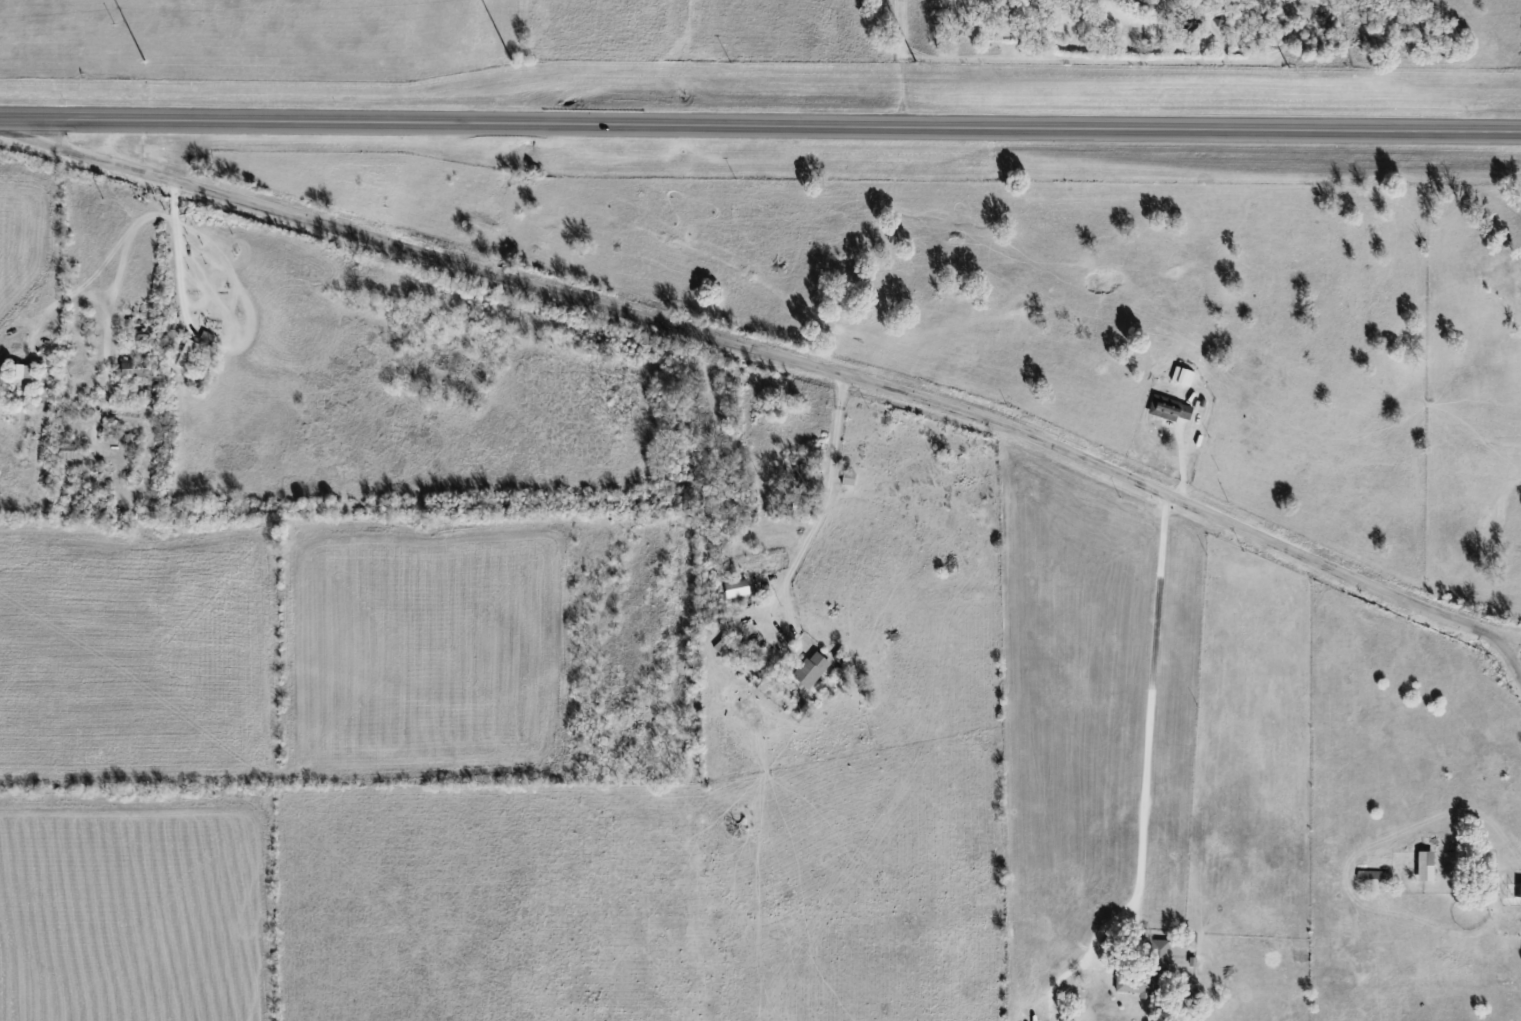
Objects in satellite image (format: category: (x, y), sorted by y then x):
power tower: (144, 61)
power tower: (517, 63)
power tower: (917, 63)
road: (904, 64)
power tower: (1291, 68)
road: (760, 126)
road: (176, 254)
building: (204, 338)
building: (183, 352)
road: (787, 359)
building: (25, 371)
building: (1182, 375)
building: (1168, 409)
road: (1178, 459)
building: (798, 472)
road: (809, 531)
building: (735, 588)
road: (1511, 638)
building: (723, 645)
building: (811, 668)
road: (1145, 776)
building: (1417, 866)

